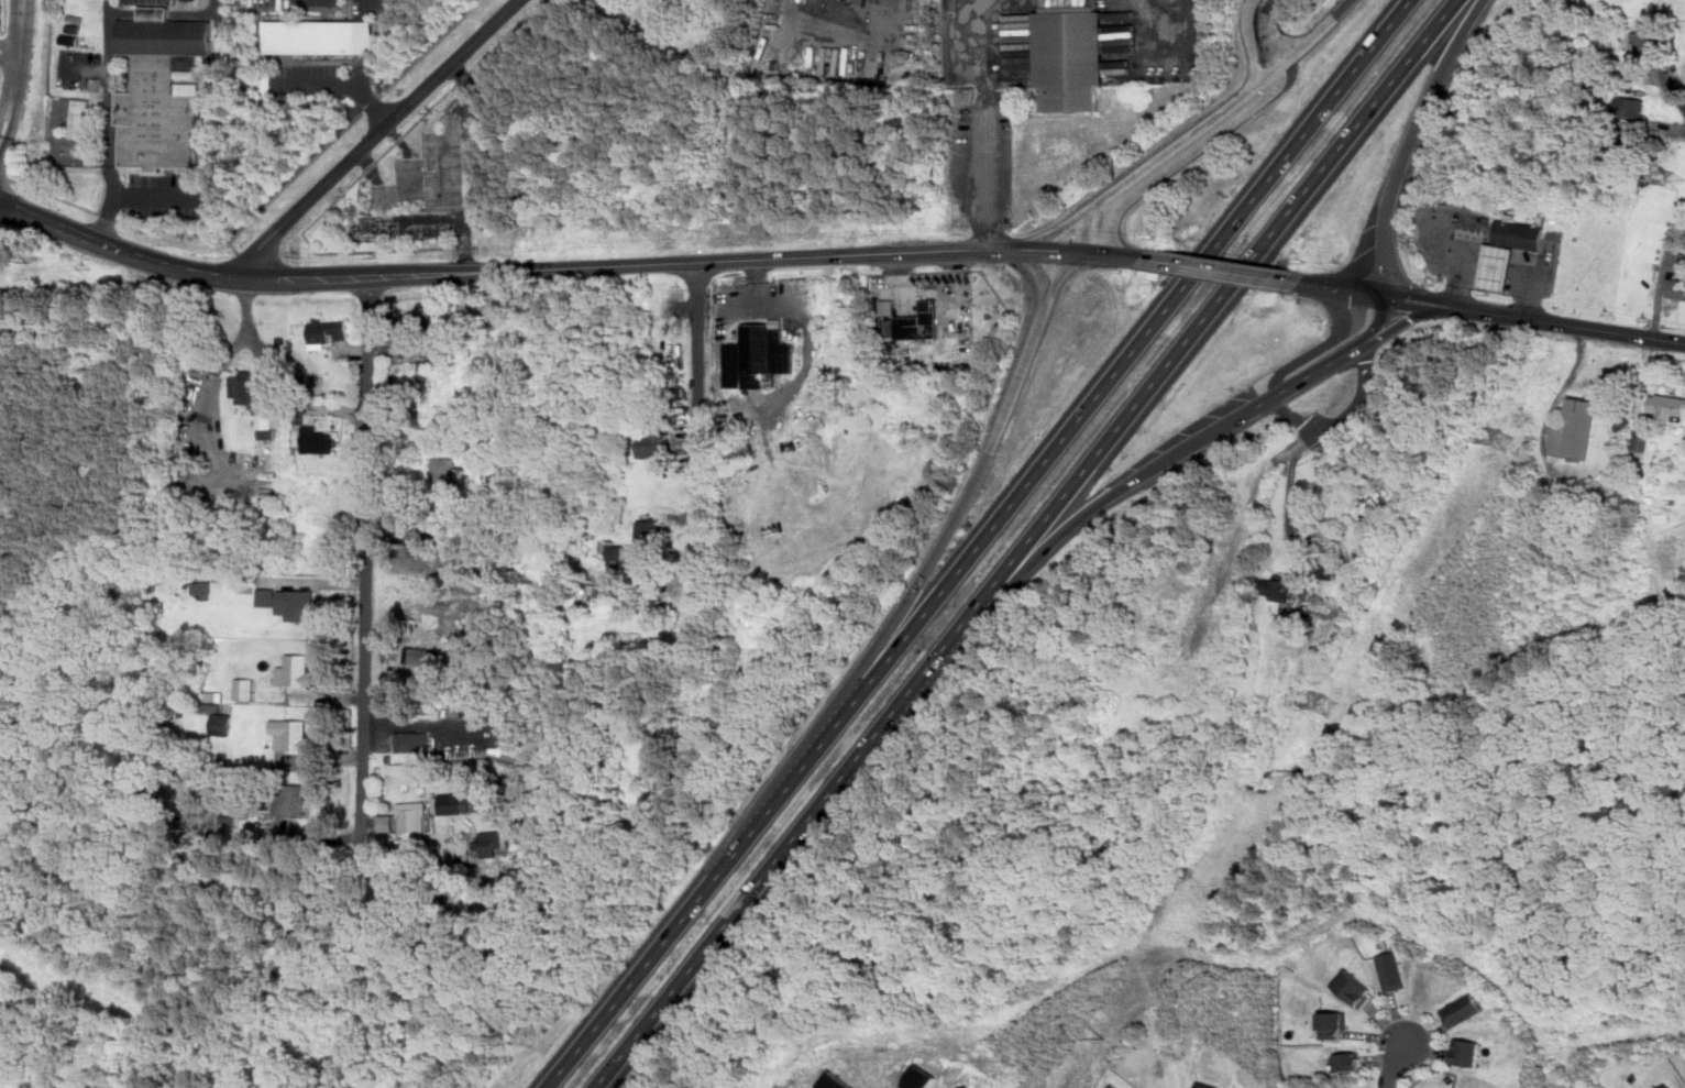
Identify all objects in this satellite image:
road: (363, 11)
building: (73, 30)
road: (1269, 31)
road: (1318, 31)
wastewater plant: (5, 34)
building: (1644, 36)
building: (320, 37)
road: (363, 37)
building: (87, 40)
road: (1249, 40)
building: (69, 41)
road: (987, 43)
road: (18, 50)
road: (432, 50)
building: (1070, 57)
building: (186, 63)
road: (1280, 66)
road: (363, 73)
road: (461, 74)
road: (343, 83)
road: (1672, 86)
building: (159, 94)
road: (109, 97)
road: (373, 107)
building: (1630, 109)
road: (5, 112)
building: (81, 118)
road: (12, 124)
road: (377, 134)
road: (399, 136)
road: (1410, 141)
building: (66, 153)
road: (1183, 156)
road: (1155, 160)
road: (371, 166)
road: (985, 167)
road: (5, 178)
power tower: (1680, 184)
road: (159, 196)
road: (324, 213)
road: (107, 217)
road: (441, 220)
building: (1560, 222)
road: (1081, 229)
building: (1521, 235)
road: (208, 246)
road: (1062, 250)
road: (1088, 252)
road: (241, 255)
road: (1130, 256)
street lamp: (1561, 264)
road: (1498, 265)
building: (1496, 268)
gas station: (1496, 268)
road: (520, 270)
road: (1036, 270)
road: (1222, 271)
building: (1675, 286)
road: (1337, 288)
traffic signals: (1352, 292)
road: (1410, 300)
traffic signals: (1410, 300)
building: (888, 308)
road: (1510, 316)
road: (1378, 319)
road: (1359, 321)
building: (916, 322)
building: (412, 325)
road: (1402, 325)
road: (251, 330)
building: (794, 331)
building: (327, 332)
road: (1634, 336)
road: (1581, 345)
road: (1134, 347)
building: (757, 356)
building: (421, 367)
road: (1317, 371)
building: (243, 388)
road: (1346, 393)
road: (1364, 397)
building: (1667, 406)
road: (1293, 415)
building: (266, 420)
building: (1576, 429)
building: (319, 440)
power tower: (1505, 444)
building: (1641, 444)
building: (654, 446)
road: (1297, 446)
road: (697, 448)
building: (741, 450)
building: (449, 472)
road: (979, 479)
road: (1114, 492)
road: (1291, 520)
building: (648, 530)
road: (1025, 542)
building: (614, 550)
road: (370, 557)
building: (1329, 570)
building: (1276, 587)
building: (201, 589)
building: (266, 596)
building: (296, 604)
building: (417, 656)
building: (295, 671)
building: (244, 688)
road: (698, 710)
power tower: (1320, 712)
building: (218, 718)
building: (289, 735)
building: (412, 741)
road: (816, 750)
building: (653, 788)
building: (288, 800)
building: (454, 803)
building: (406, 817)
road: (318, 837)
building: (493, 842)
road: (362, 853)
building: (297, 912)
road: (660, 947)
building: (1392, 970)
building: (1354, 987)
building: (1462, 1010)
building: (1334, 1024)
building: (1467, 1052)
building: (1350, 1060)
road: (1399, 1067)
building: (921, 1078)
building: (836, 1081)
building: (1207, 1085)
building: (1667, 1086)
building: (969, 1087)

